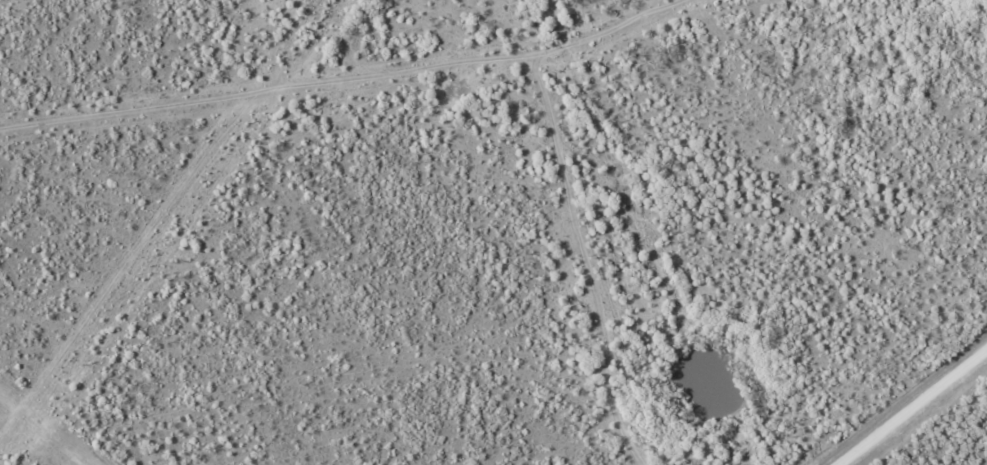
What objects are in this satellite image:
road: (361, 111)

